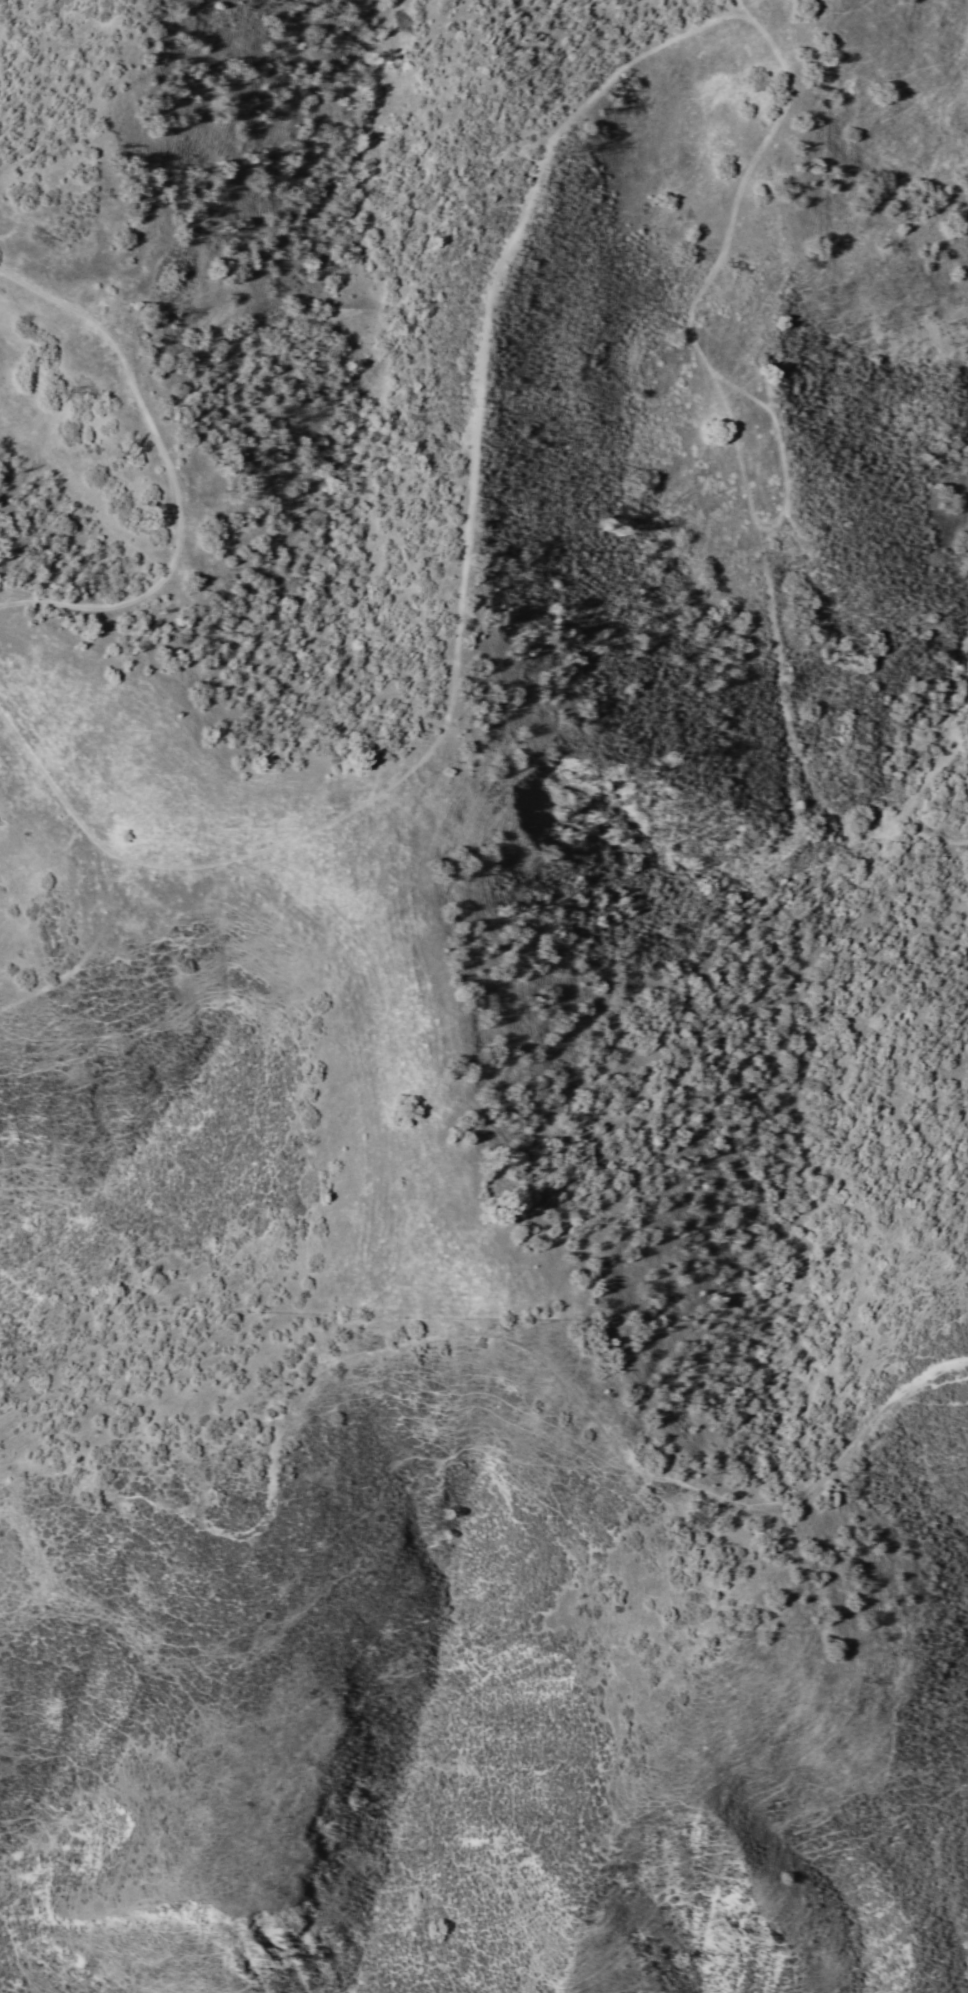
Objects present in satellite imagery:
road: (936, 1484)

